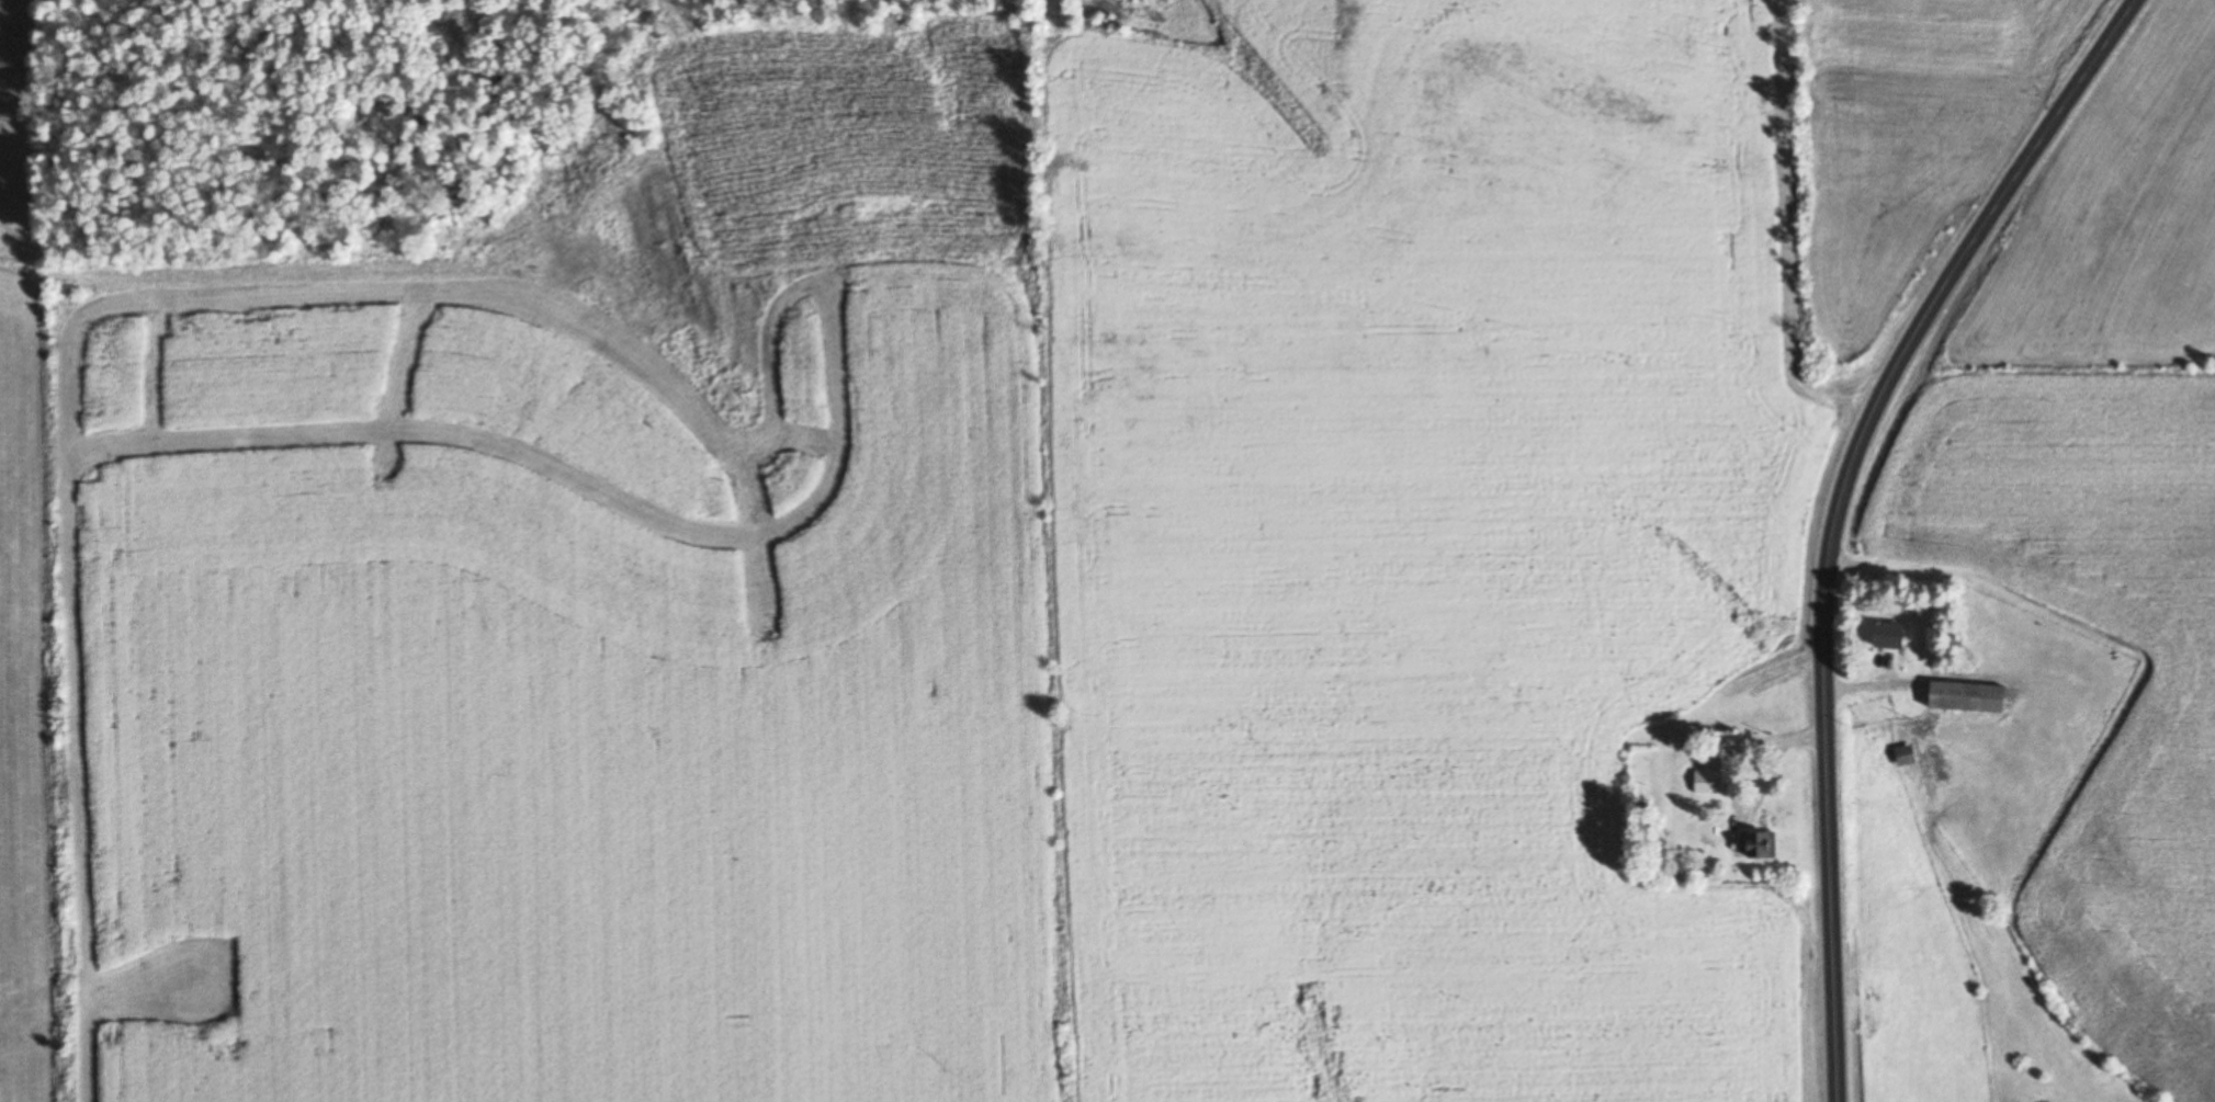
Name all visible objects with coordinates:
crop: (1925, 136)
crop: (2116, 221)
crop: (2211, 360)
road: (1835, 509)
building: (1892, 636)
crop: (2090, 666)
building: (1970, 697)
building: (1905, 756)
crop: (2009, 773)
building: (1708, 782)
crop: (1895, 830)
building: (1753, 844)
crop: (1959, 1008)

